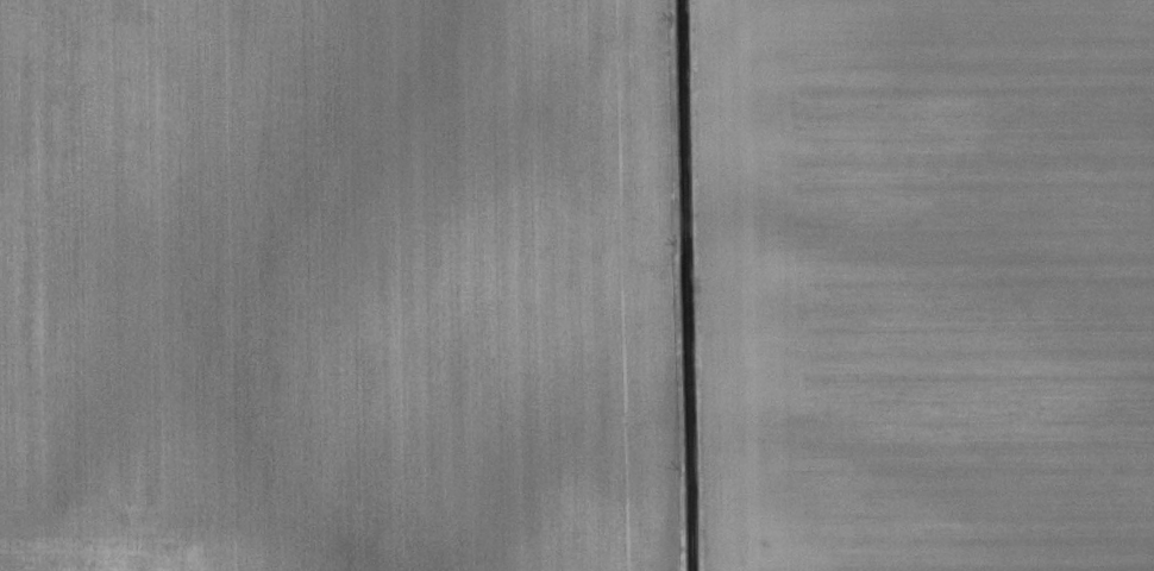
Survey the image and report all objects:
road: (684, 285)

